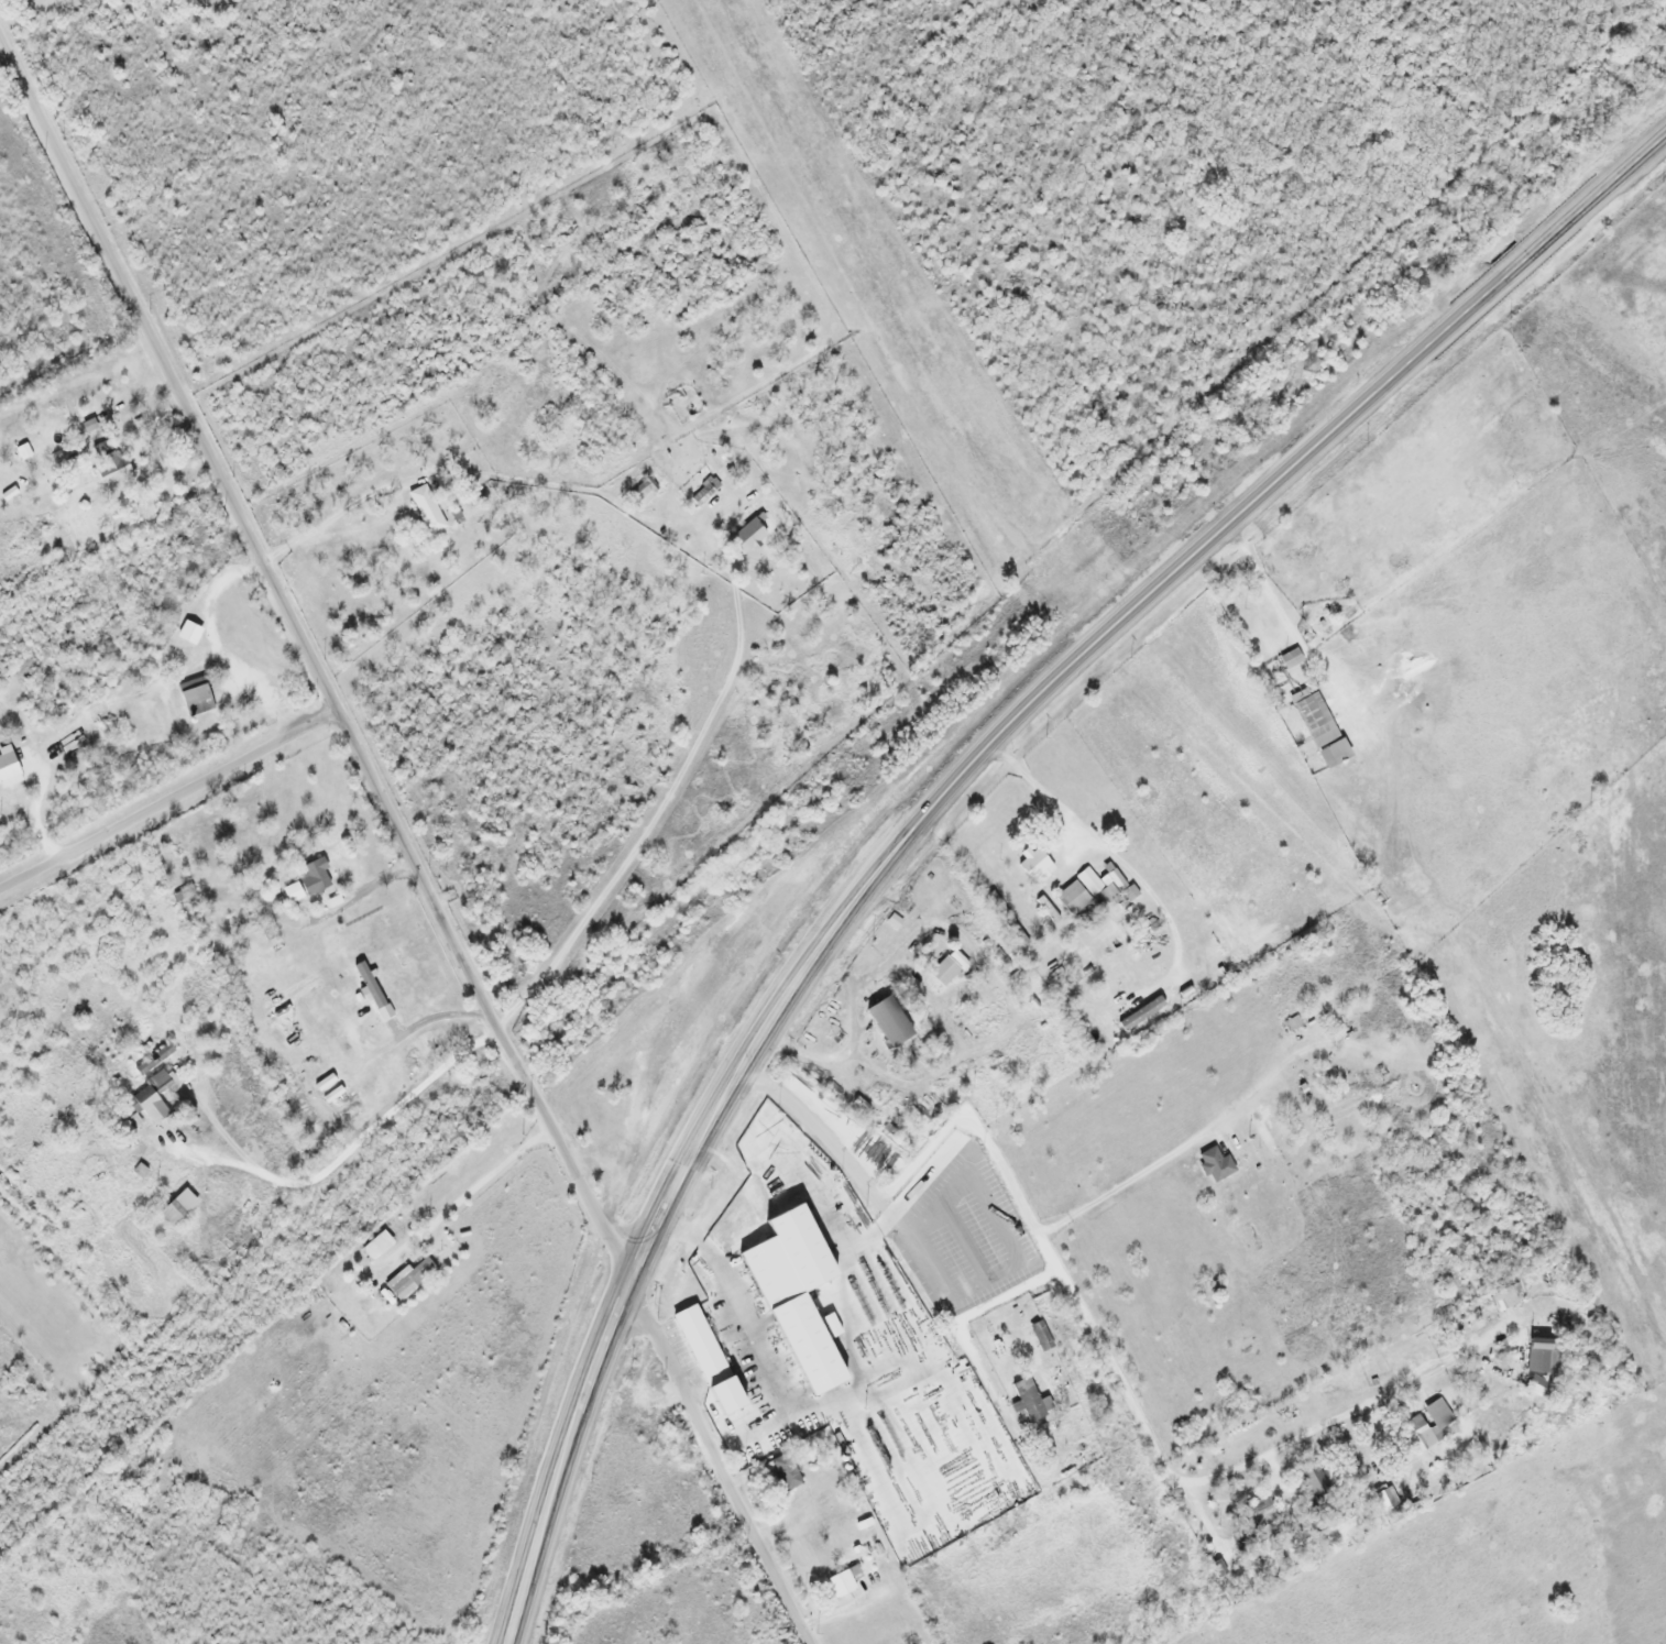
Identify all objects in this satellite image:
road: (450, 259)
road: (820, 285)
building: (109, 461)
building: (645, 492)
building: (427, 507)
road: (245, 529)
building: (749, 535)
building: (1292, 657)
building: (187, 700)
building: (1322, 726)
building: (9, 766)
road: (946, 788)
road: (169, 801)
road: (656, 815)
building: (1035, 863)
building: (309, 881)
building: (1081, 890)
building: (945, 971)
building: (891, 1021)
building: (1295, 1022)
building: (155, 1059)
building: (154, 1097)
building: (1265, 1133)
road: (346, 1152)
building: (813, 1202)
building: (180, 1207)
building: (866, 1226)
building: (1312, 1226)
building: (412, 1276)
building: (322, 1283)
building: (781, 1286)
road: (649, 1325)
building: (1042, 1335)
road: (1096, 1339)
building: (703, 1346)
building: (1541, 1355)
building: (1029, 1400)
building: (1421, 1434)
building: (786, 1472)
building: (1316, 1481)
building: (1028, 1488)
building: (1262, 1509)
building: (846, 1581)

